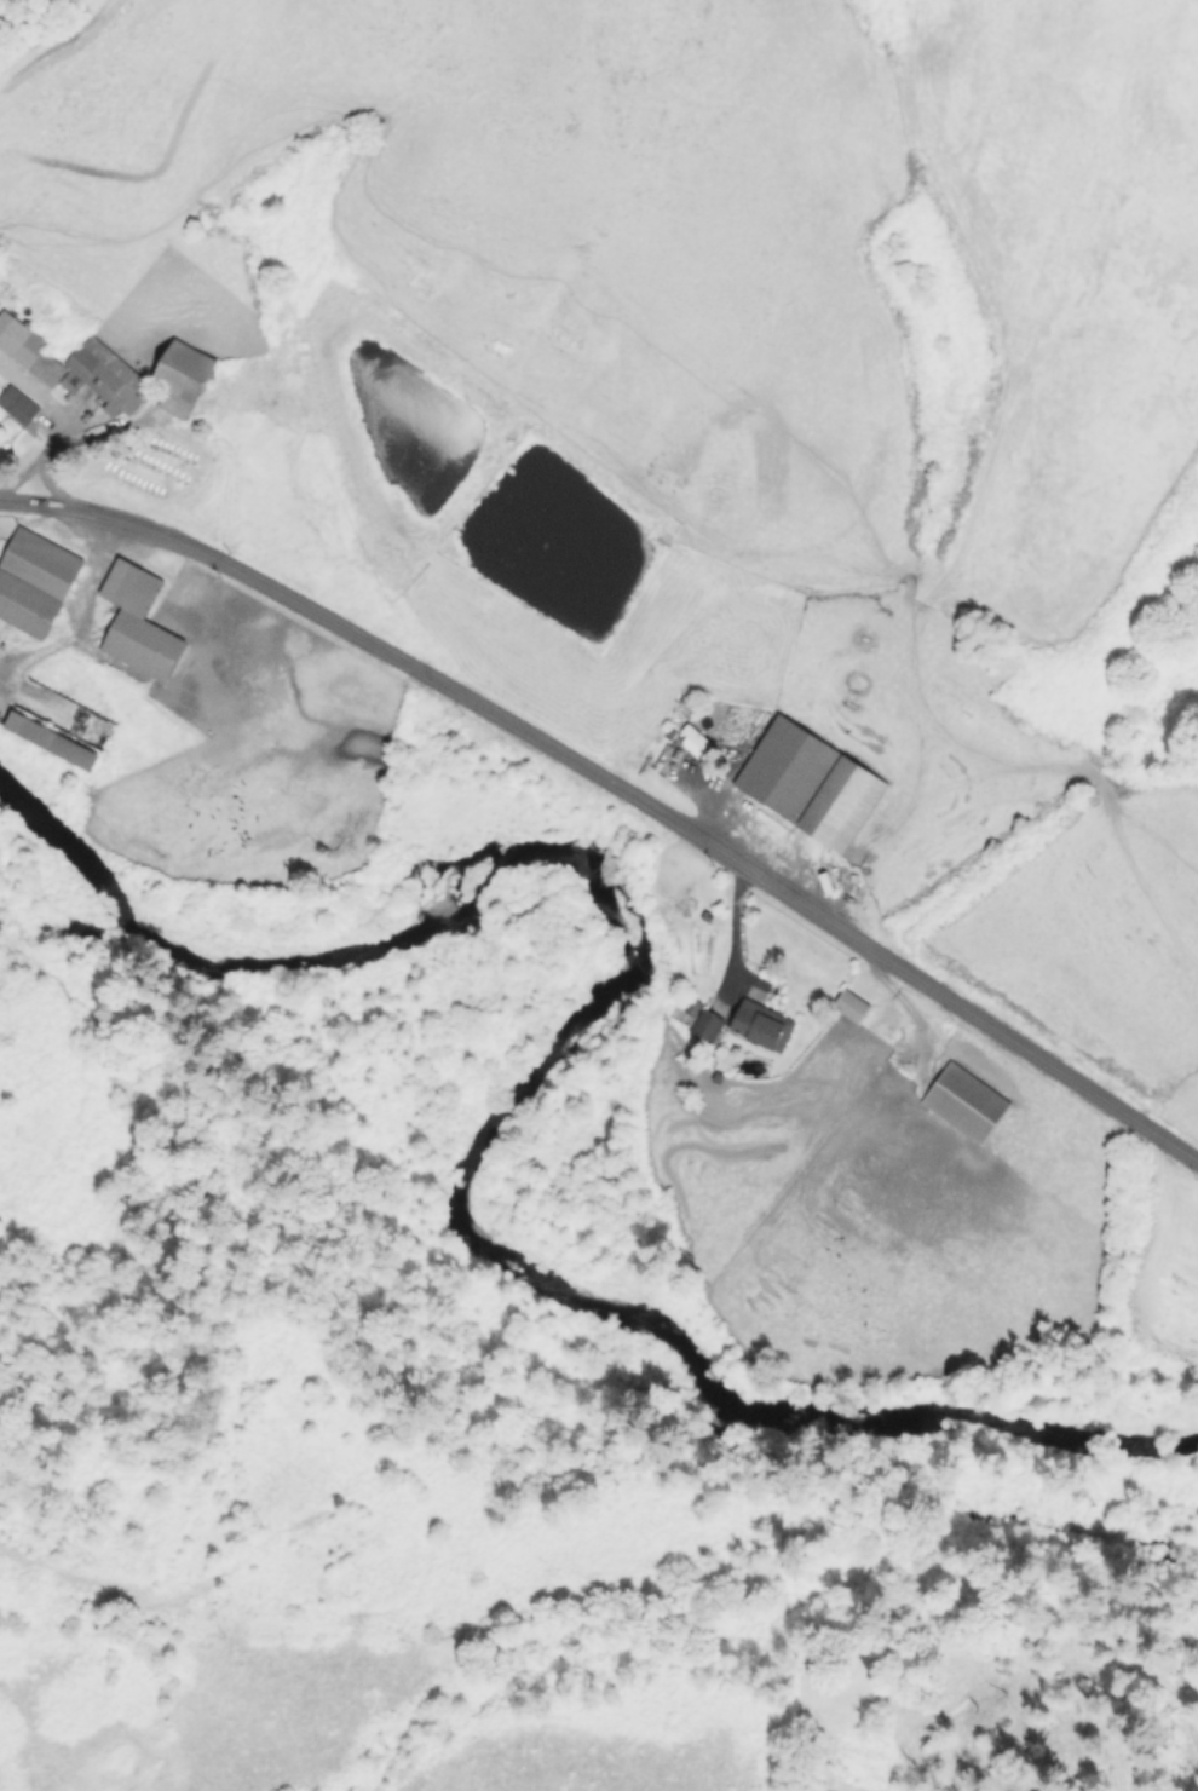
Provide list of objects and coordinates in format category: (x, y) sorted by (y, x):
building: (28, 349)
building: (104, 374)
building: (180, 375)
building: (17, 404)
building: (33, 580)
building: (136, 622)
building: (50, 739)
building: (693, 742)
building: (808, 783)
road: (615, 793)
road: (727, 933)
building: (849, 1004)
building: (760, 1024)
building: (705, 1025)
building: (963, 1101)

